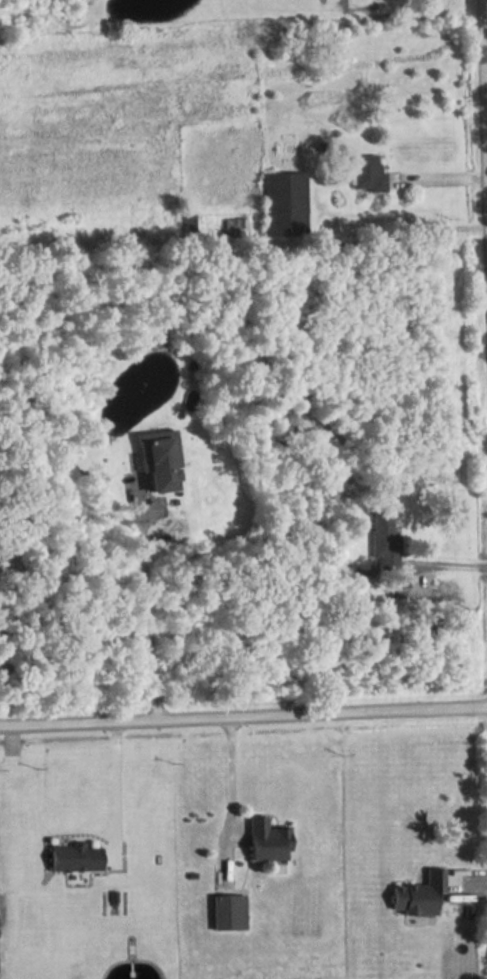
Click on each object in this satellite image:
road: (438, 173)
building: (367, 174)
building: (283, 205)
road: (483, 206)
building: (233, 228)
building: (283, 414)
building: (159, 463)
building: (384, 537)
road: (148, 621)
road: (243, 721)
road: (230, 775)
road: (115, 785)
building: (267, 841)
building: (75, 858)
building: (419, 894)

